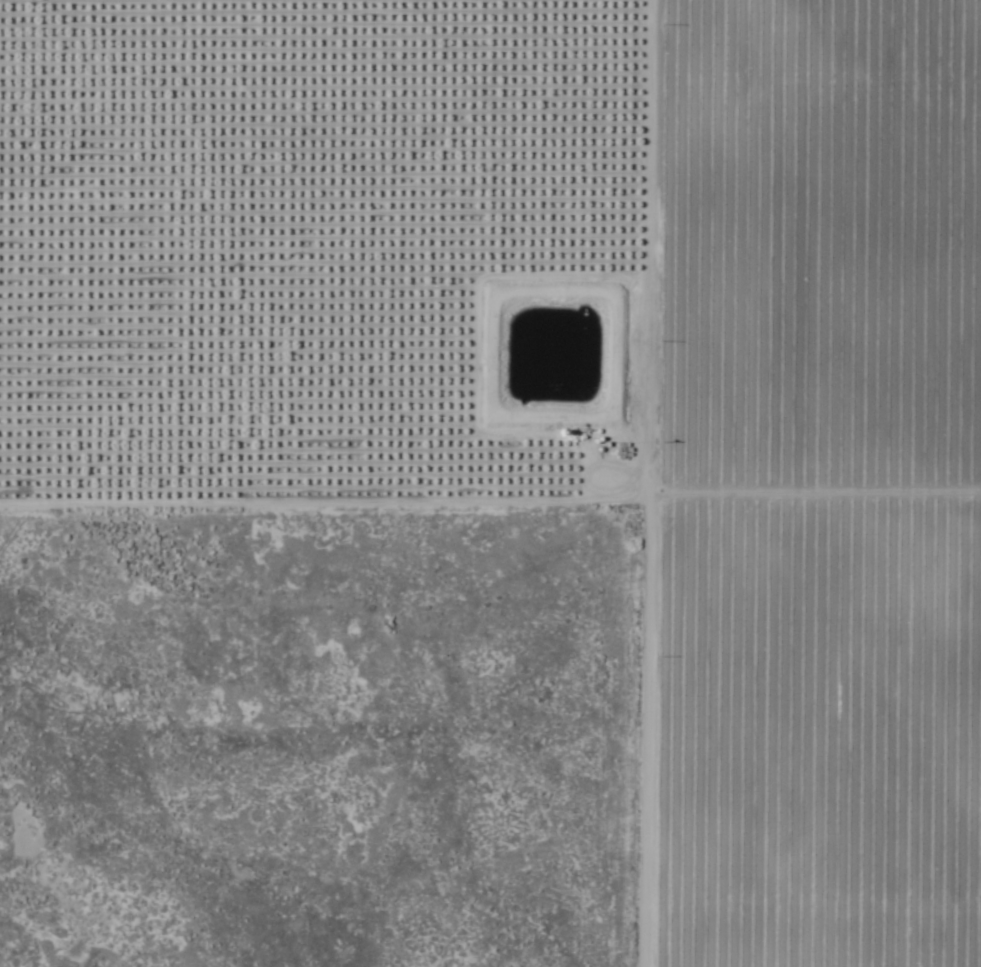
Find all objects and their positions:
road: (643, 483)

